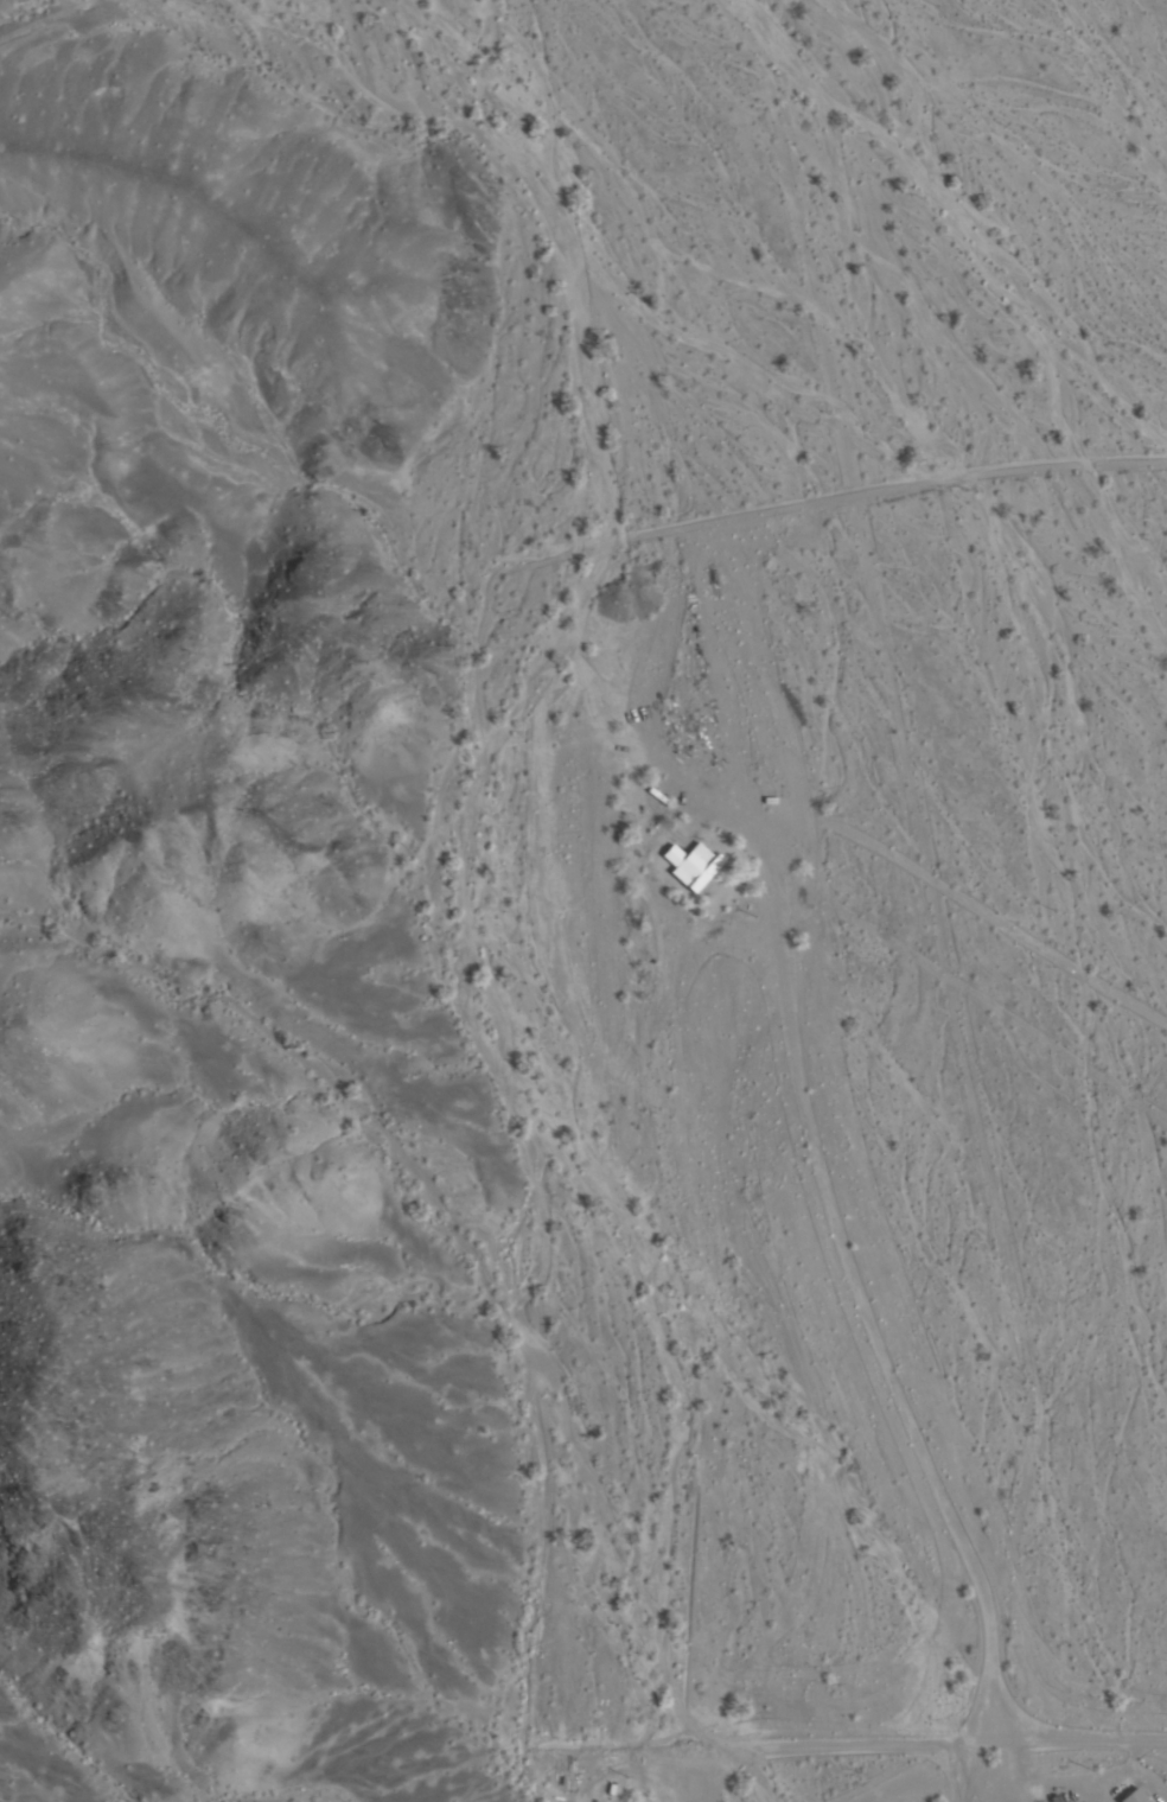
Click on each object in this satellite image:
building: (694, 865)
building: (1136, 1796)

